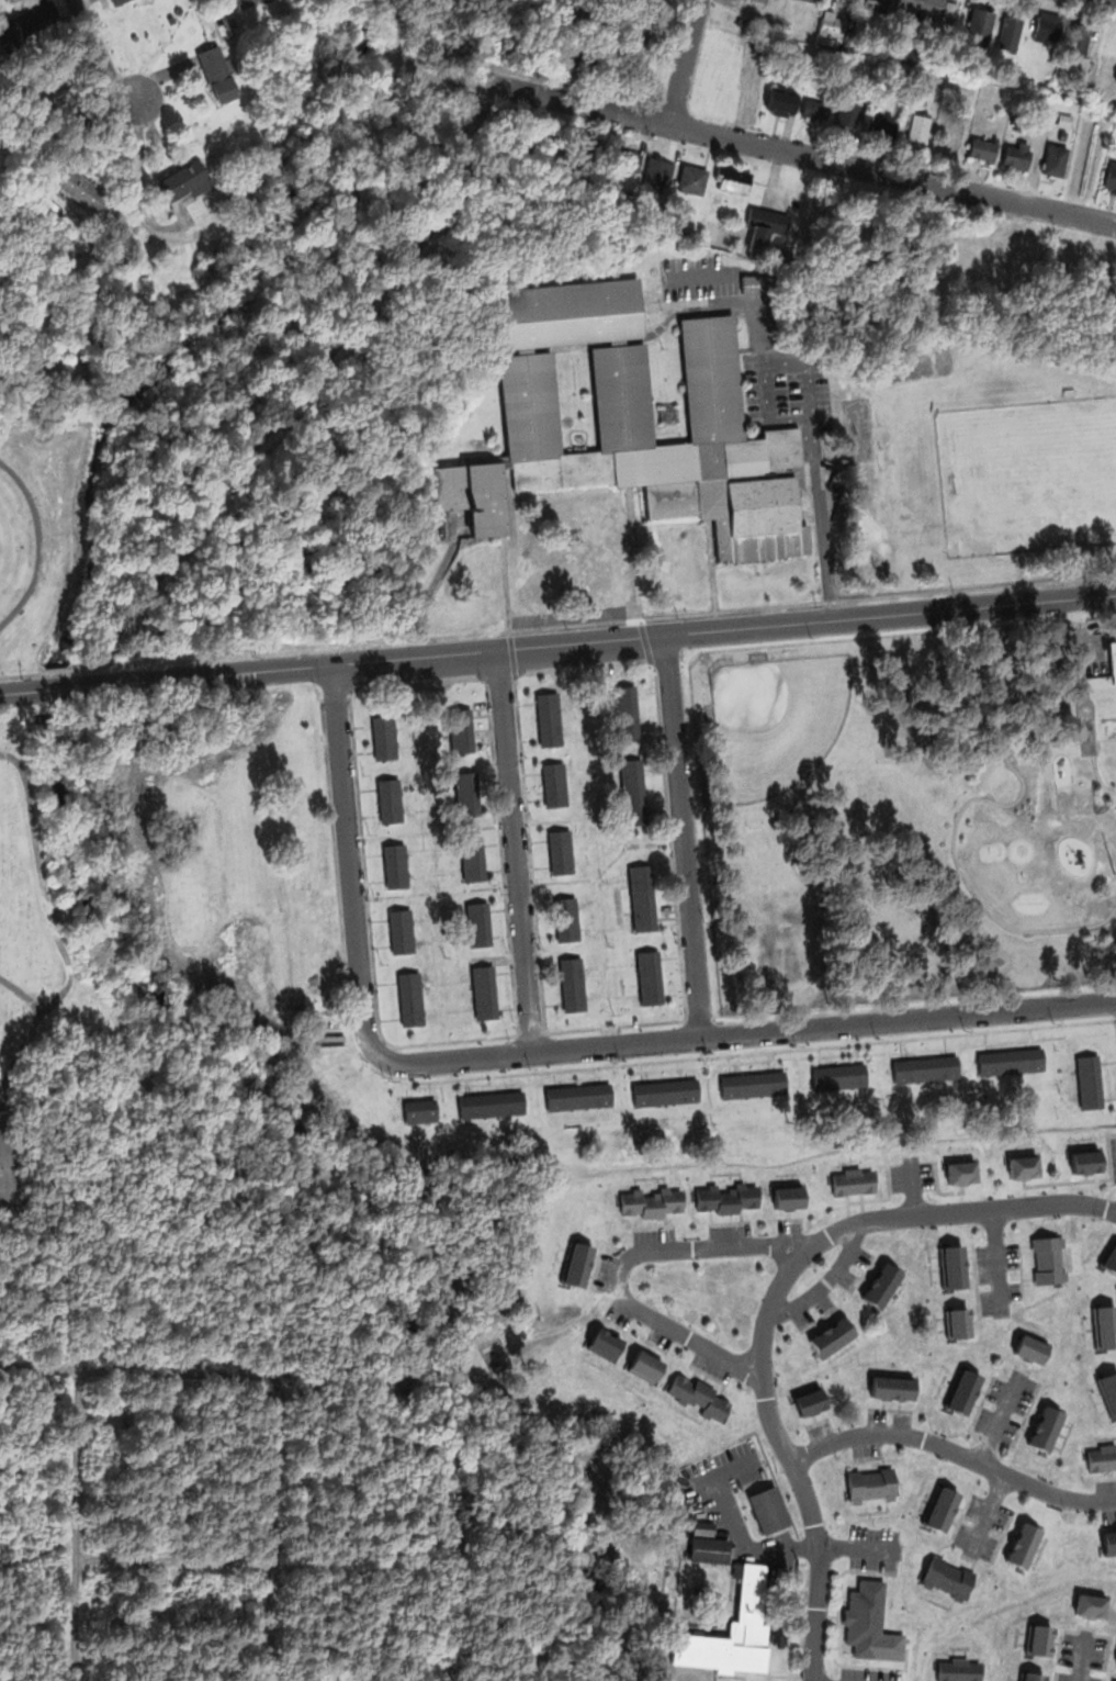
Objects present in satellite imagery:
building: (811, 0)
building: (117, 1)
building: (268, 1)
building: (929, 5)
building: (878, 7)
building: (29, 22)
building: (980, 24)
building: (831, 25)
building: (1048, 25)
building: (1112, 25)
building: (1010, 32)
building: (1076, 40)
road: (92, 58)
road: (685, 63)
building: (54, 71)
building: (218, 71)
building: (555, 72)
road: (493, 89)
building: (781, 102)
building: (814, 111)
building: (848, 116)
building: (1064, 120)
building: (883, 127)
building: (918, 127)
building: (1115, 134)
building: (1062, 136)
building: (983, 148)
building: (594, 153)
road: (803, 154)
building: (1016, 154)
building: (1055, 159)
building: (628, 161)
building: (656, 173)
building: (1112, 175)
building: (190, 179)
building: (694, 180)
building: (734, 180)
building: (82, 188)
building: (764, 225)
building: (681, 233)
building: (780, 254)
building: (1070, 262)
building: (1103, 267)
building: (756, 284)
building: (568, 312)
building: (713, 379)
road: (307, 383)
building: (622, 395)
building: (530, 405)
park: (1052, 480)
building: (673, 488)
park: (37, 529)
road: (40, 542)
building: (1100, 551)
road: (612, 620)
road: (723, 629)
road: (646, 642)
road: (514, 653)
building: (1113, 659)
road: (55, 671)
road: (166, 679)
building: (625, 713)
park: (775, 719)
building: (549, 720)
building: (461, 731)
building: (384, 738)
building: (553, 784)
building: (633, 791)
building: (466, 794)
building: (388, 800)
road: (684, 836)
road: (515, 851)
building: (560, 851)
building: (473, 859)
building: (394, 864)
building: (642, 897)
park: (70, 911)
building: (565, 919)
building: (478, 922)
road: (50, 923)
building: (401, 930)
road: (81, 968)
building: (650, 977)
building: (573, 983)
building: (483, 991)
road: (23, 994)
building: (410, 997)
road: (550, 1049)
building: (1012, 1063)
building: (925, 1069)
building: (838, 1077)
building: (1090, 1083)
building: (753, 1084)
building: (665, 1091)
building: (578, 1097)
building: (491, 1105)
building: (420, 1112)
building: (1086, 1161)
building: (1024, 1166)
building: (5, 1168)
building: (961, 1173)
building: (854, 1180)
building: (787, 1197)
building: (728, 1199)
building: (650, 1203)
road: (960, 1213)
building: (1111, 1258)
building: (1048, 1259)
road: (621, 1263)
building: (578, 1264)
building: (954, 1267)
road: (826, 1281)
building: (882, 1286)
building: (959, 1323)
building: (1105, 1325)
building: (834, 1337)
building: (606, 1345)
building: (1033, 1347)
building: (645, 1367)
road: (145, 1370)
building: (892, 1387)
building: (1109, 1387)
building: (965, 1392)
building: (699, 1396)
building: (811, 1402)
building: (1048, 1428)
road: (955, 1450)
road: (789, 1456)
building: (1102, 1457)
building: (870, 1483)
building: (769, 1509)
building: (942, 1509)
road: (78, 1525)
park: (132, 1527)
road: (271, 1529)
building: (1109, 1543)
building: (1025, 1545)
building: (709, 1548)
road: (174, 1560)
building: (947, 1577)
building: (1092, 1605)
building: (866, 1617)
building: (735, 1628)
building: (1041, 1638)
building: (957, 1669)
building: (1034, 1676)

